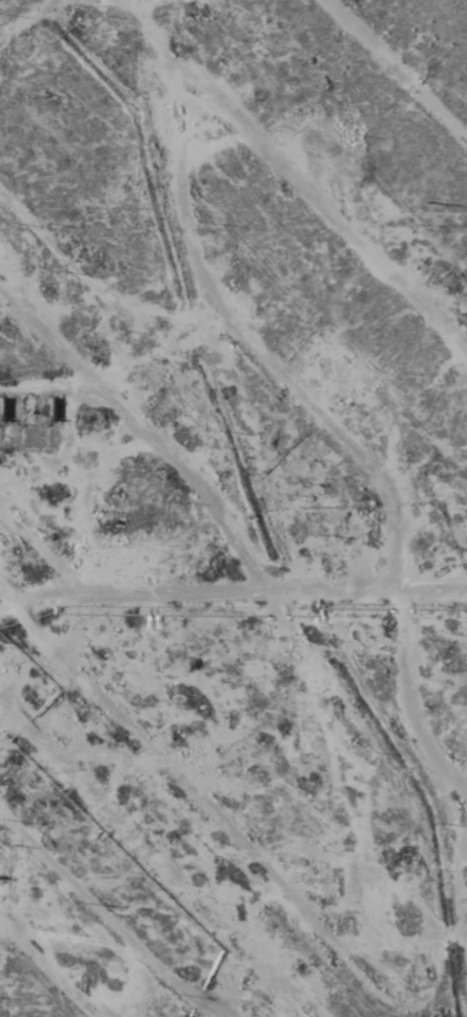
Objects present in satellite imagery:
road: (237, 248)
road: (292, 592)
road: (229, 717)
road: (54, 961)

